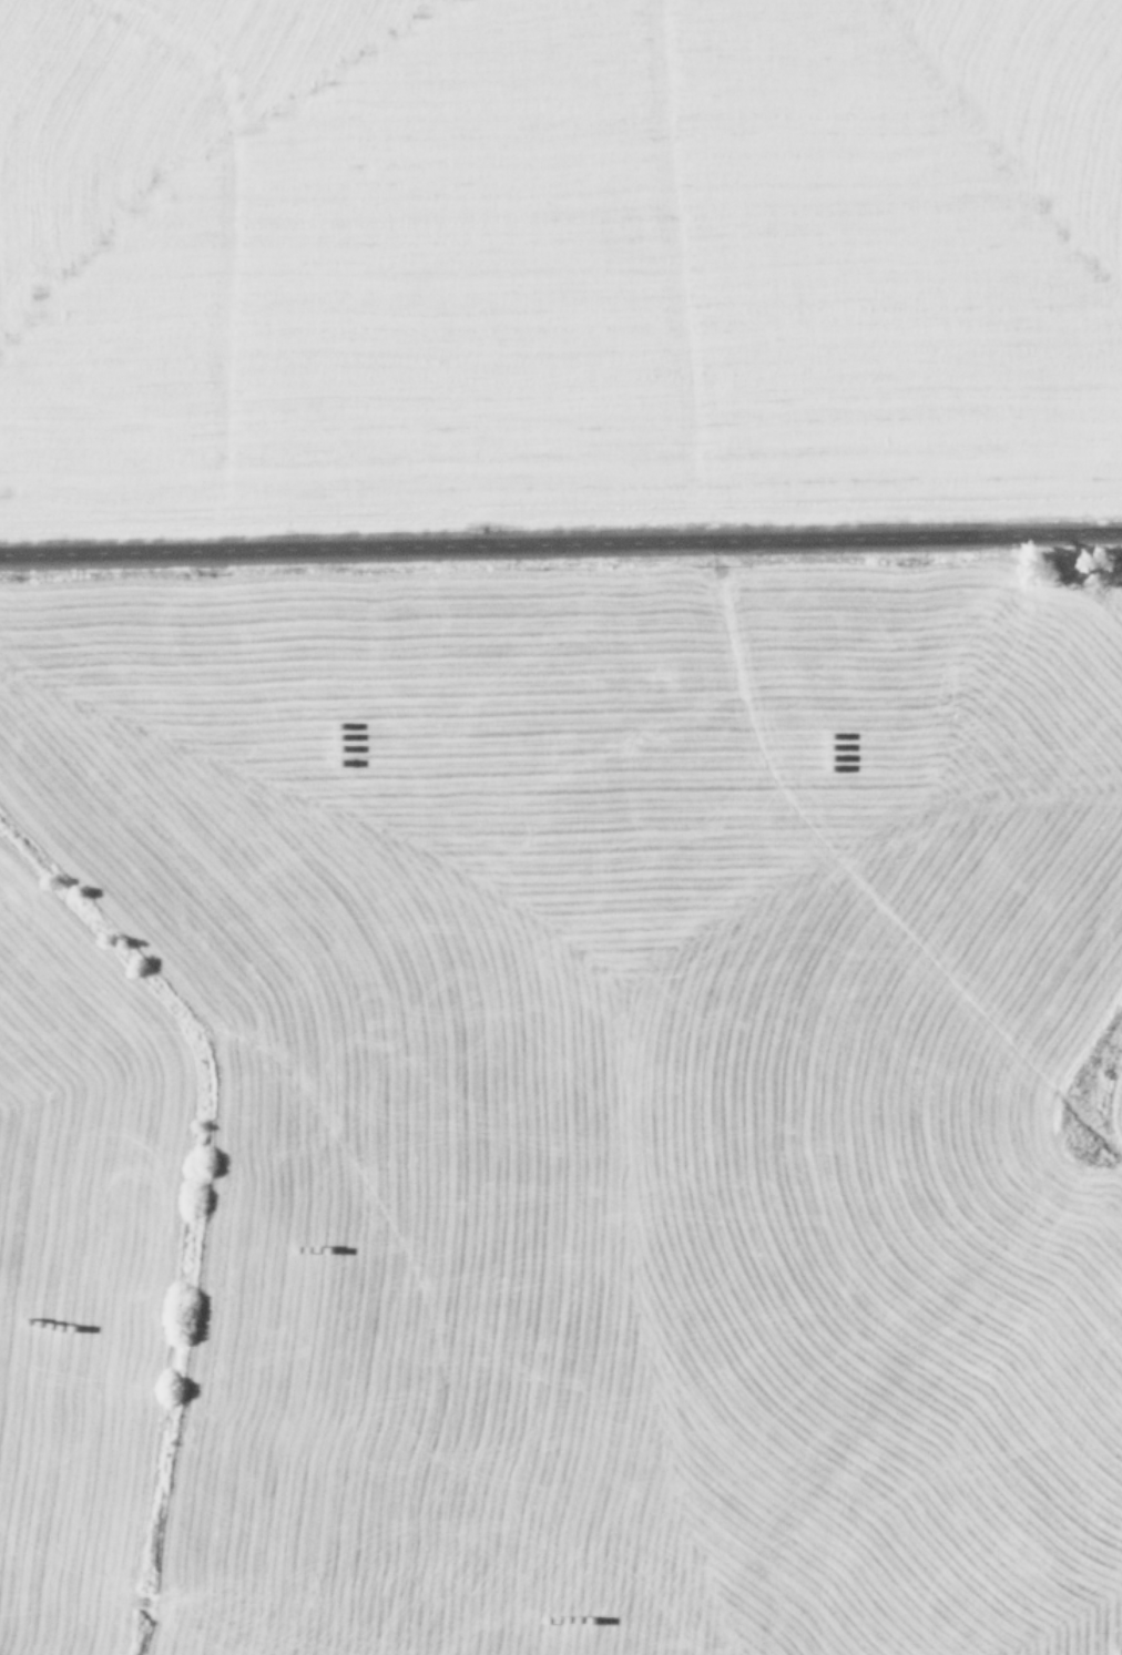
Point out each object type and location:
road: (561, 546)
crop: (561, 827)

